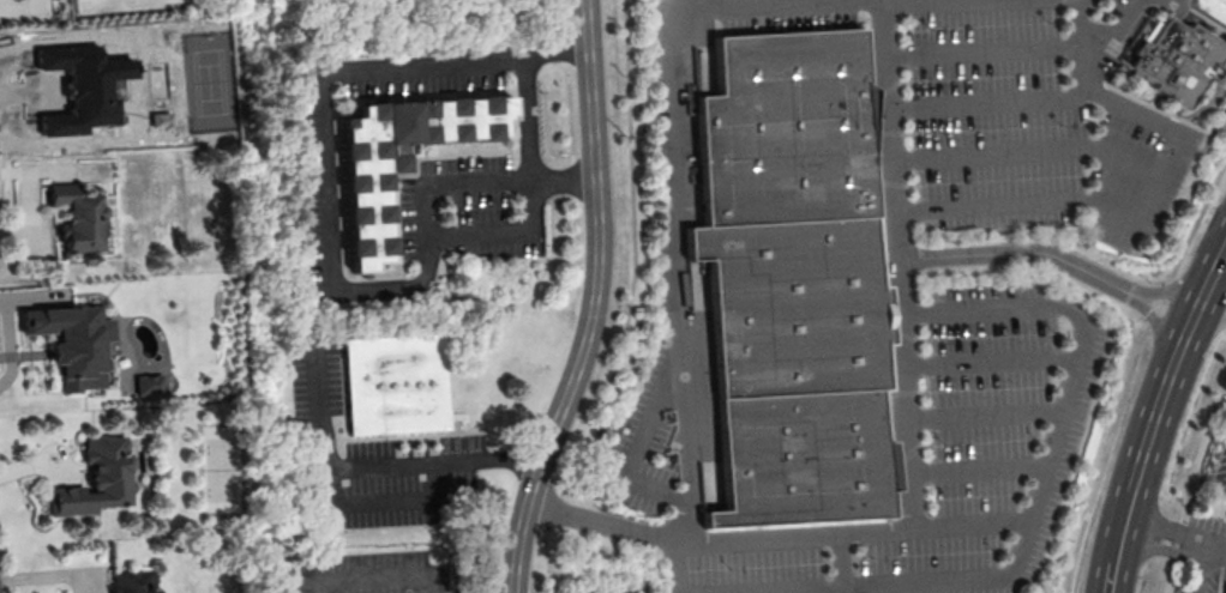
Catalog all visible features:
road: (725, 1)
road: (883, 1)
road: (911, 1)
road: (587, 25)
road: (1088, 47)
road: (987, 52)
road: (558, 55)
building: (1178, 59)
road: (533, 122)
road: (1166, 152)
road: (1027, 153)
building: (365, 204)
building: (74, 218)
road: (1022, 252)
road: (333, 254)
road: (1218, 259)
road: (677, 270)
building: (800, 280)
road: (1172, 286)
road: (1213, 296)
road: (1189, 311)
road: (1158, 320)
road: (590, 327)
road: (903, 332)
building: (66, 343)
road: (990, 361)
road: (1129, 371)
building: (393, 385)
road: (984, 413)
road: (1149, 428)
road: (645, 435)
road: (1050, 437)
road: (1204, 446)
road: (384, 465)
road: (976, 466)
building: (91, 480)
road: (379, 501)
building: (720, 501)
road: (602, 519)
road: (970, 522)
road: (1166, 526)
road: (1122, 532)
road: (759, 534)
road: (1215, 547)
road: (1185, 551)
road: (677, 563)
road: (1113, 576)
road: (378, 579)
building: (130, 582)
road: (800, 589)

